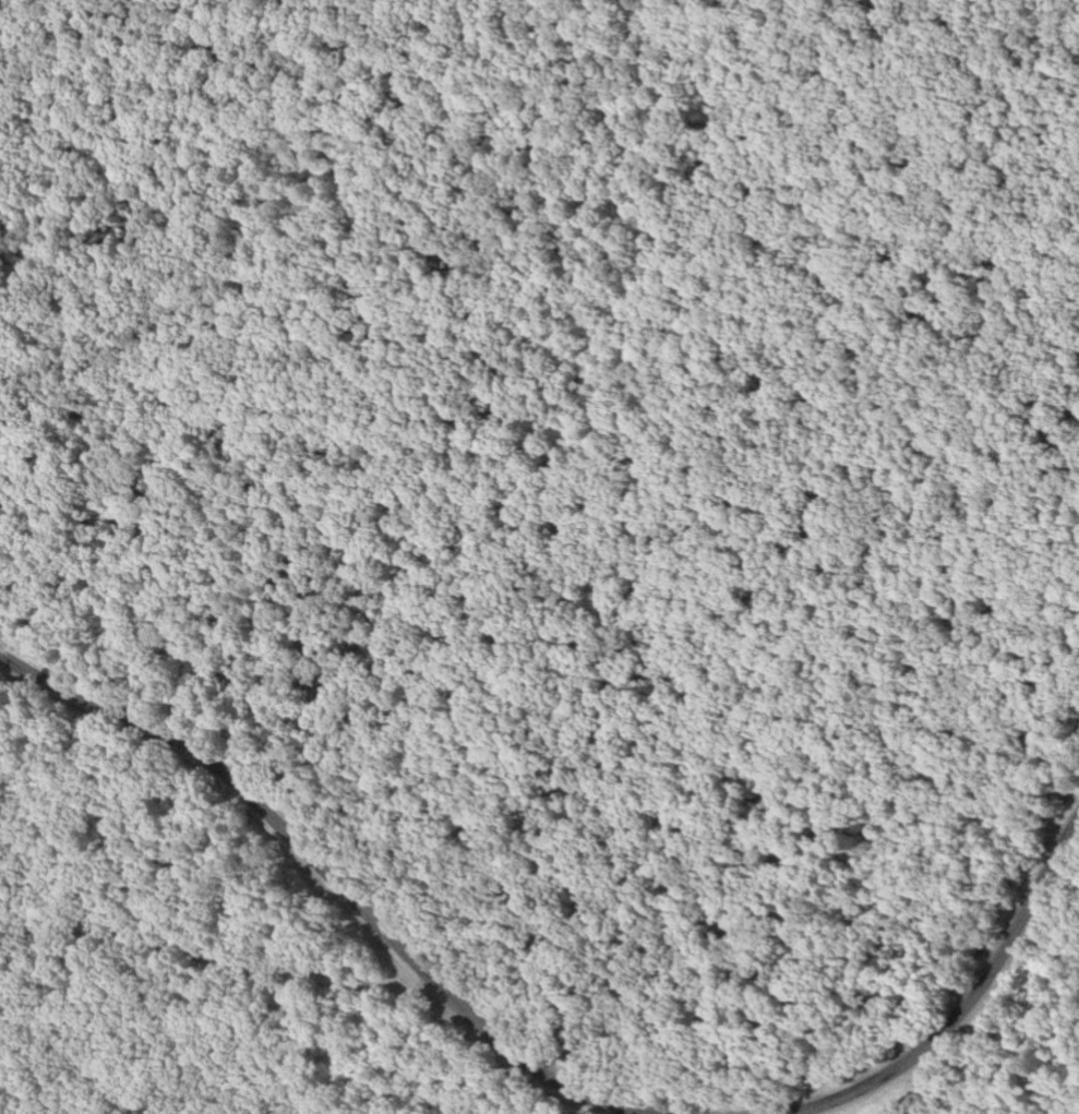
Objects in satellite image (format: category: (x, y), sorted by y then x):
road: (322, 871)
road: (226, 887)
road: (225, 965)
road: (970, 1005)

